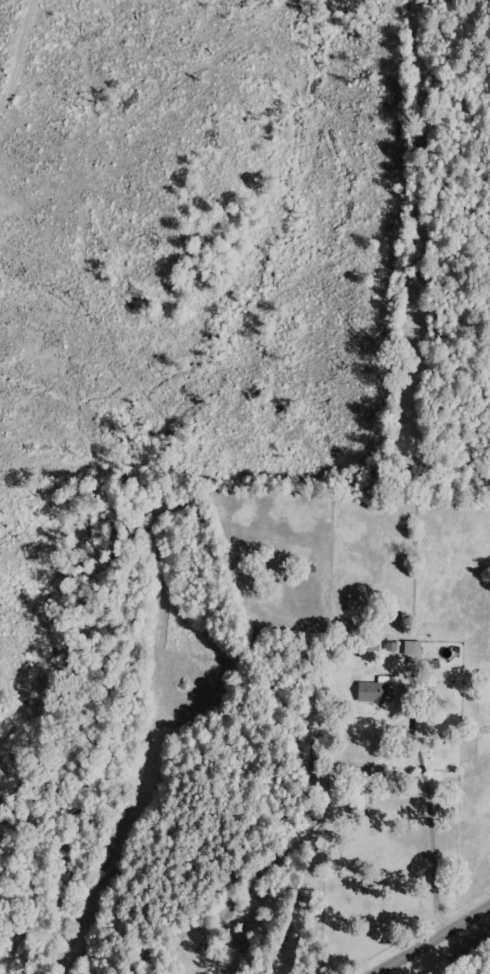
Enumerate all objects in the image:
road: (451, 950)
road: (426, 969)

